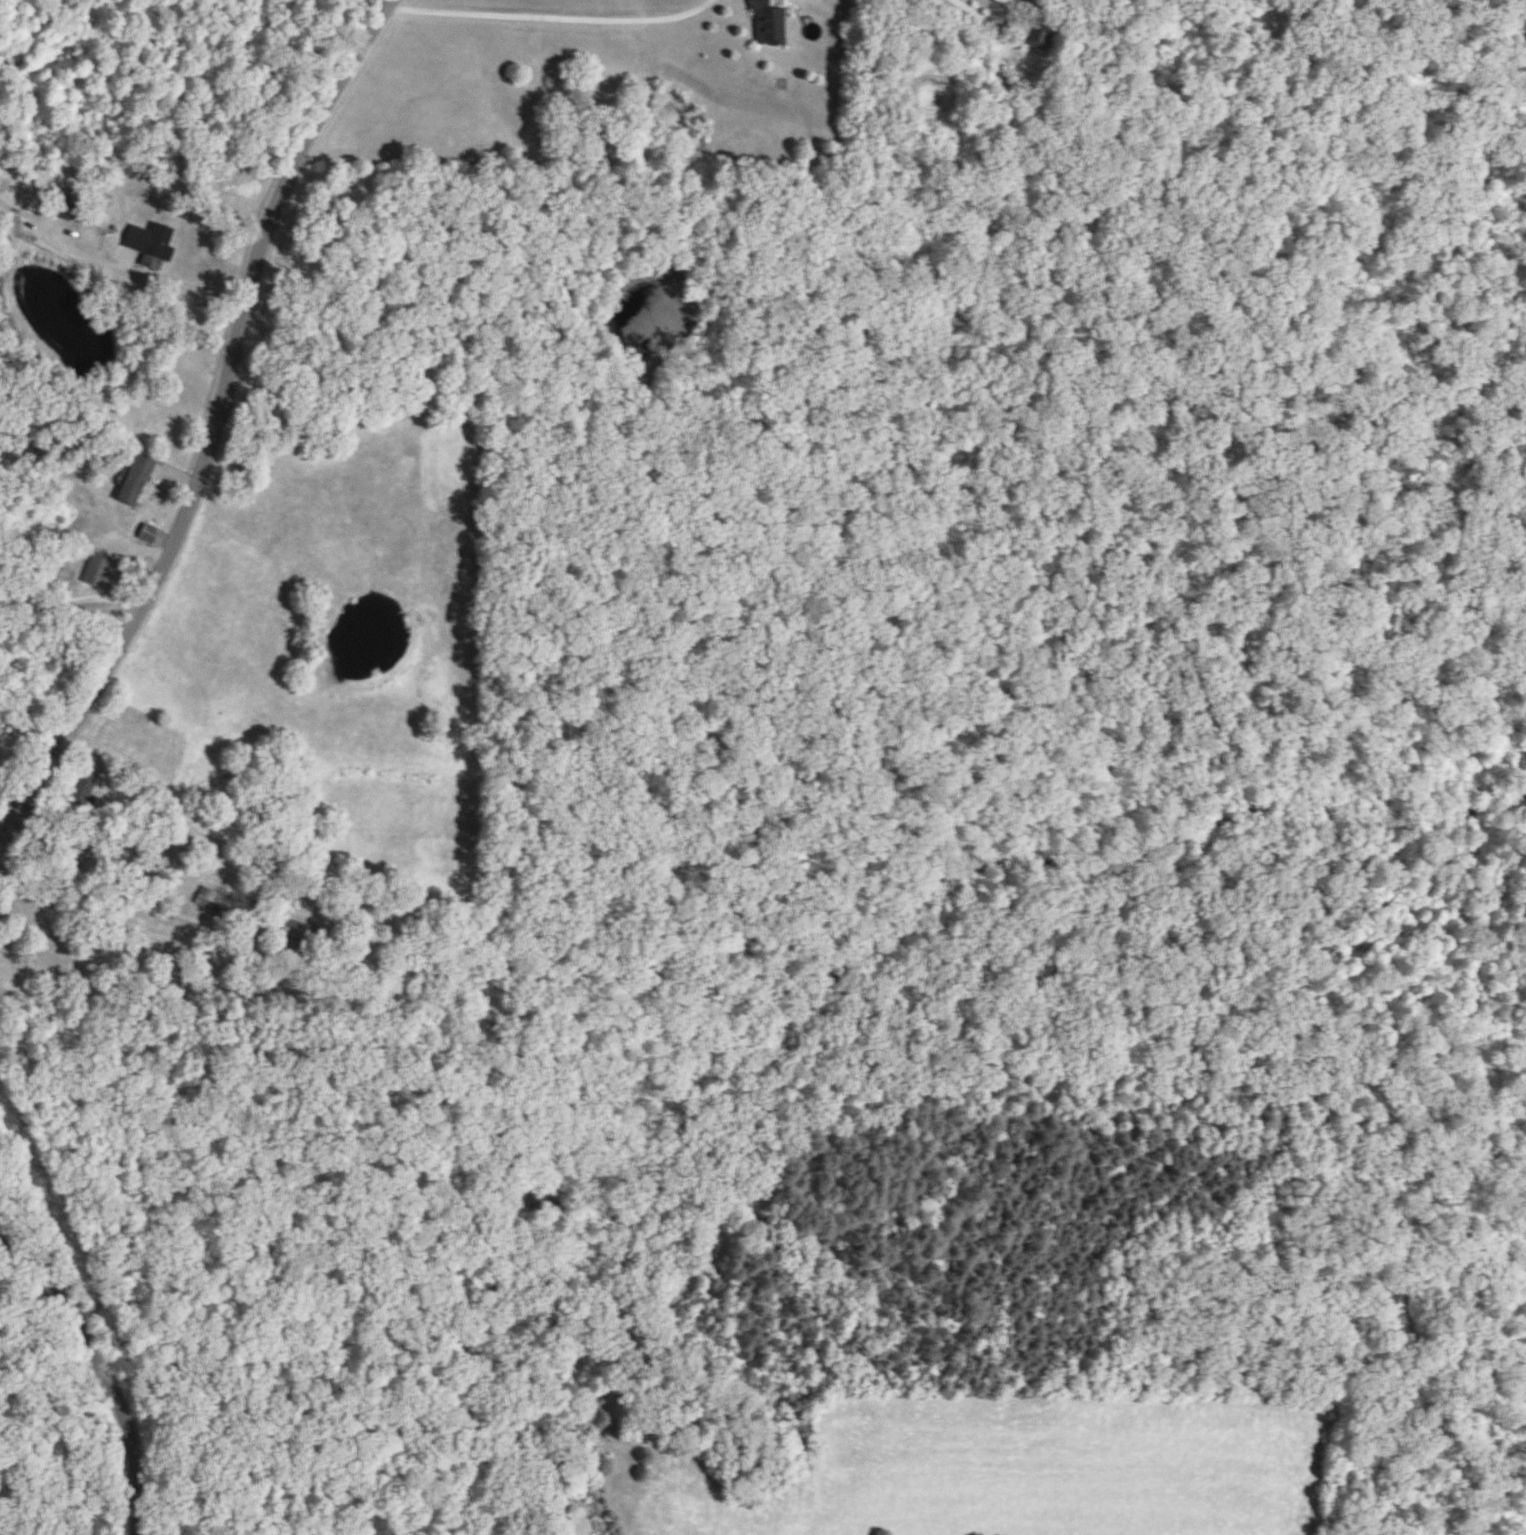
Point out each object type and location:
road: (977, 0)
road: (550, 18)
building: (769, 23)
building: (155, 245)
road: (161, 275)
road: (216, 424)
building: (136, 481)
building: (149, 535)
building: (97, 571)
road: (72, 600)
road: (205, 730)
building: (83, 790)
building: (212, 902)
building: (295, 934)
building: (542, 1206)
road: (106, 1368)

